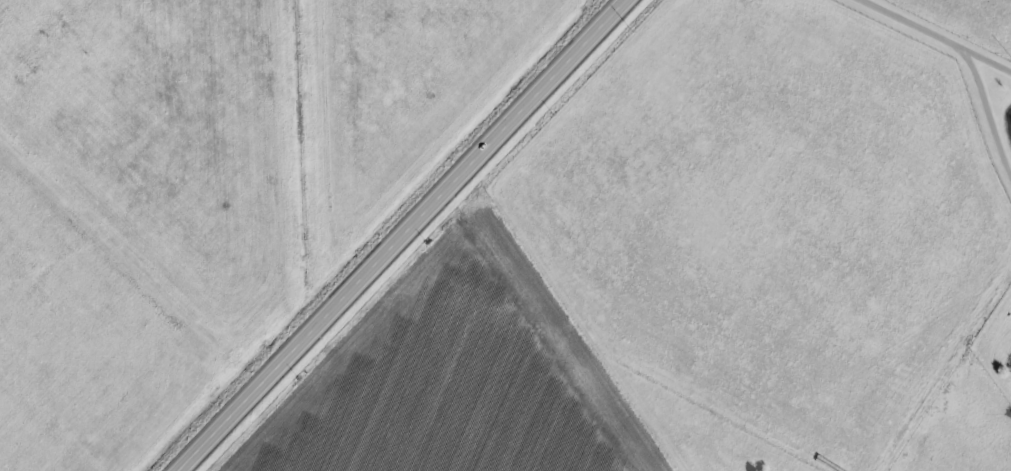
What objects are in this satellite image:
road: (936, 37)
road: (984, 114)
road: (393, 234)
road: (131, 246)

